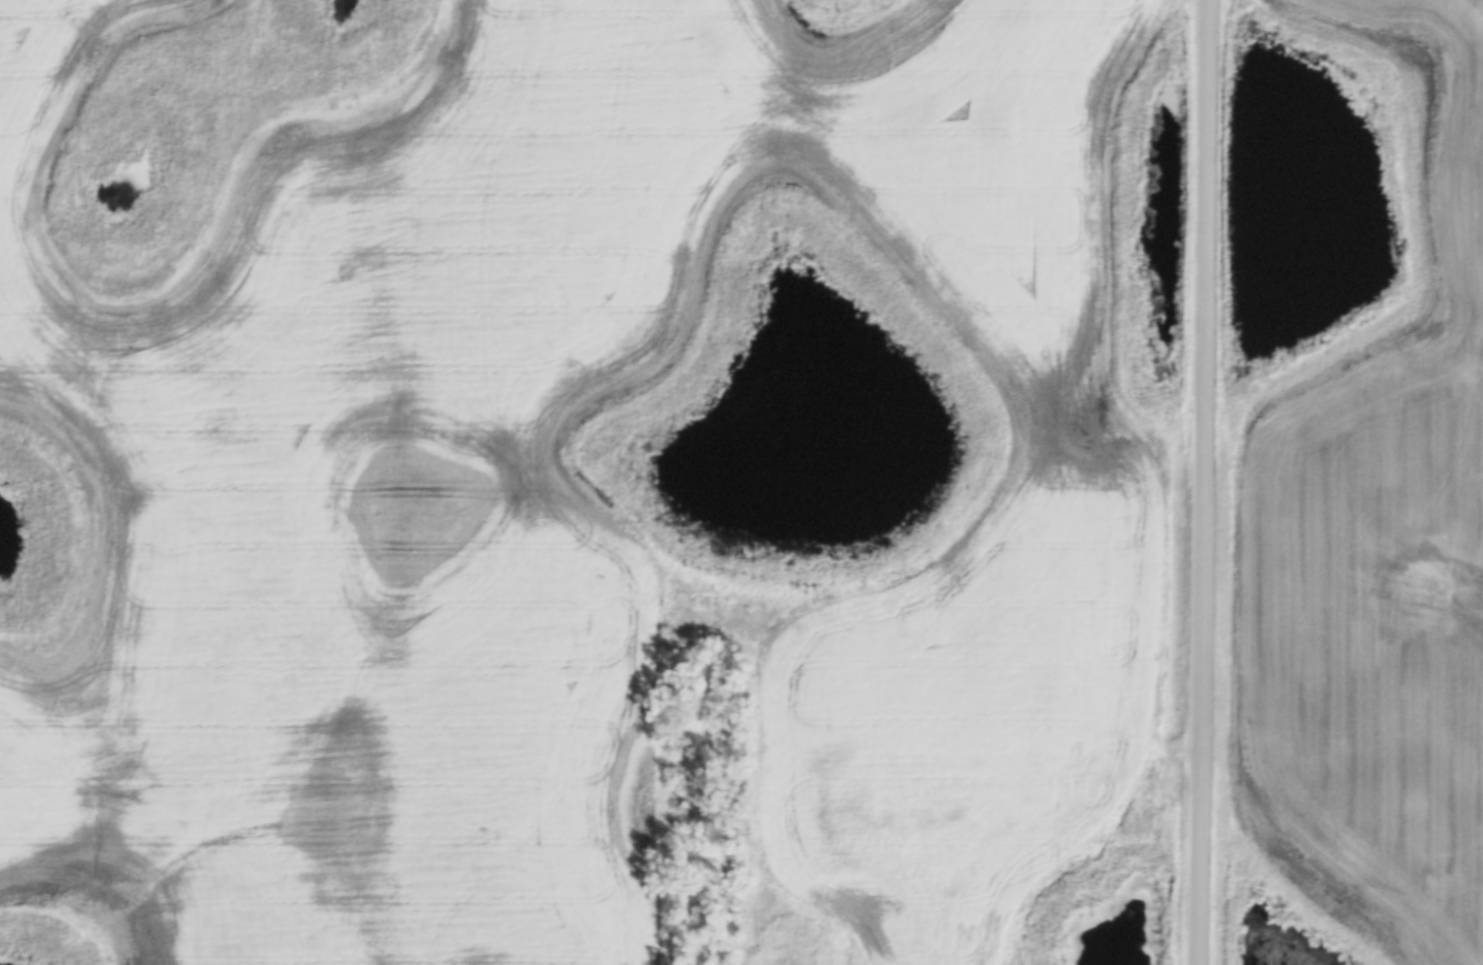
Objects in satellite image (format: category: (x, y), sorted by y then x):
road: (1213, 482)

